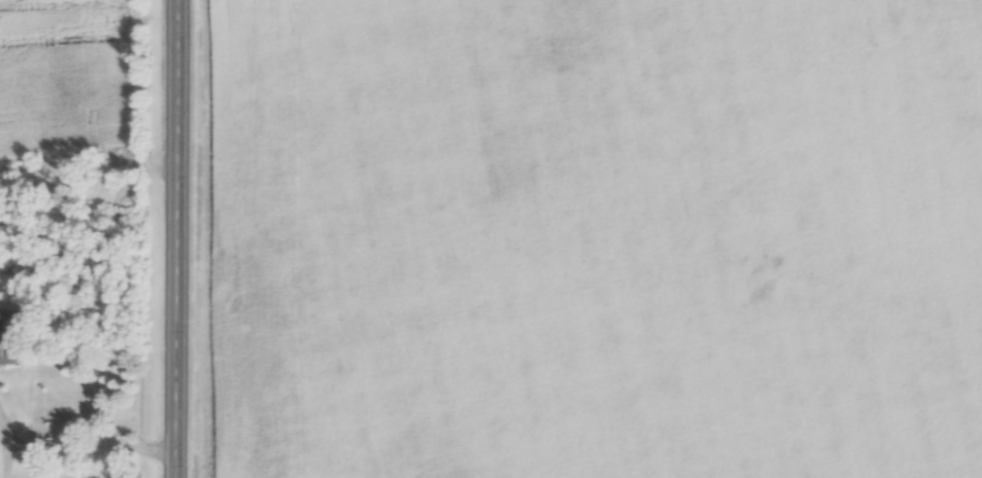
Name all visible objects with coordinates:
road: (172, 239)
road: (78, 452)

